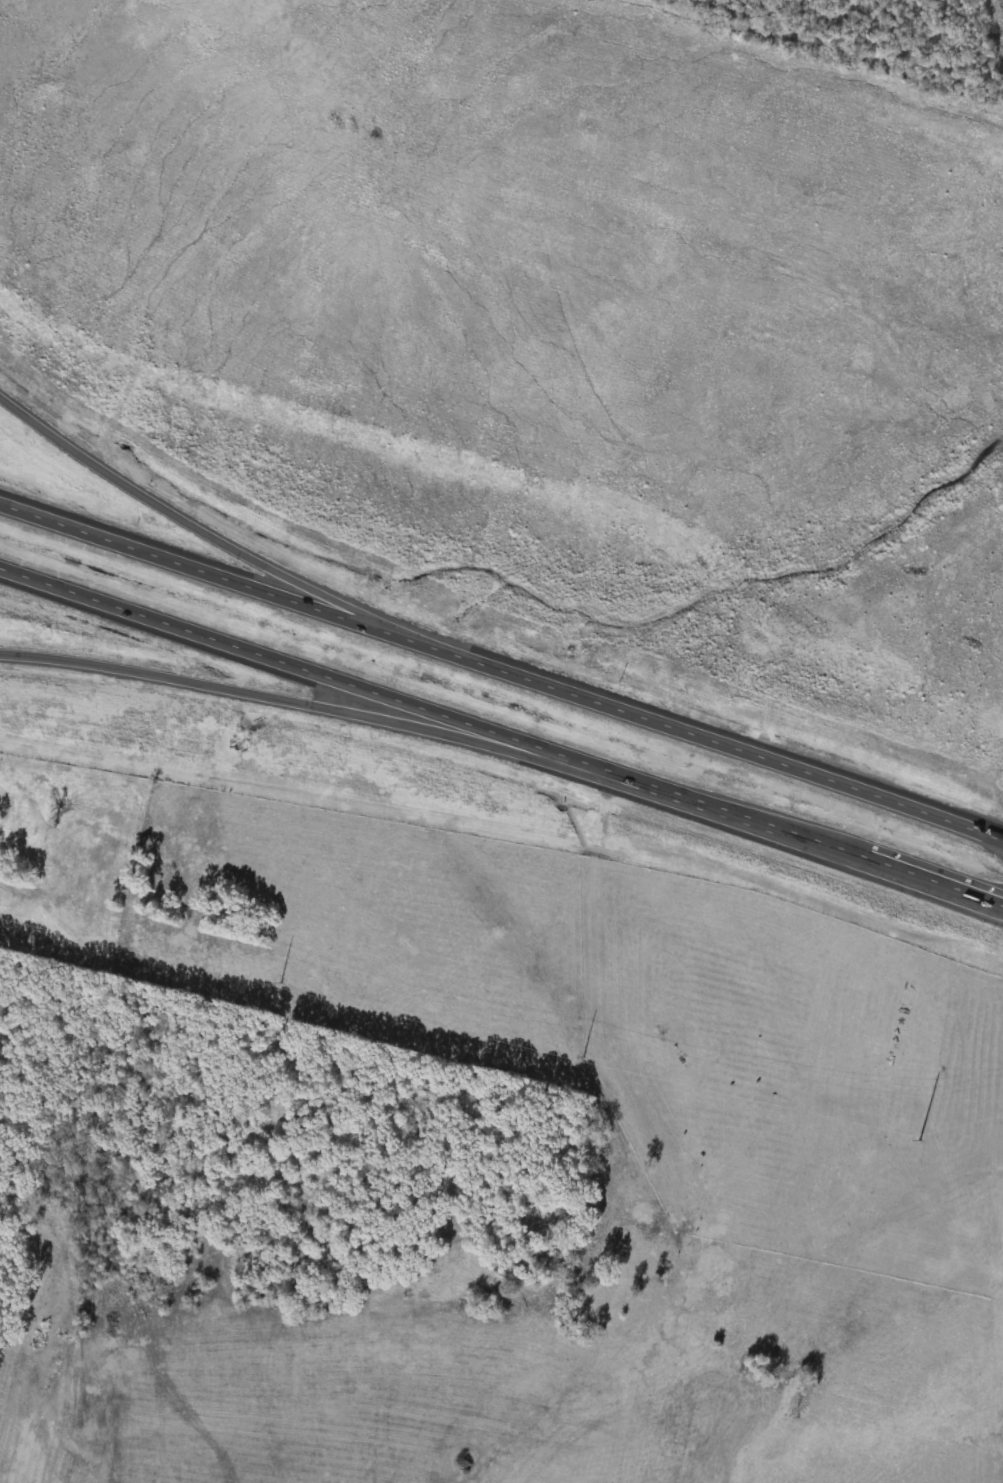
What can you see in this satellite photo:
road: (225, 540)
road: (501, 673)
road: (289, 698)
road: (501, 737)
power tower: (282, 982)
power tower: (584, 1056)
power tower: (920, 1140)

